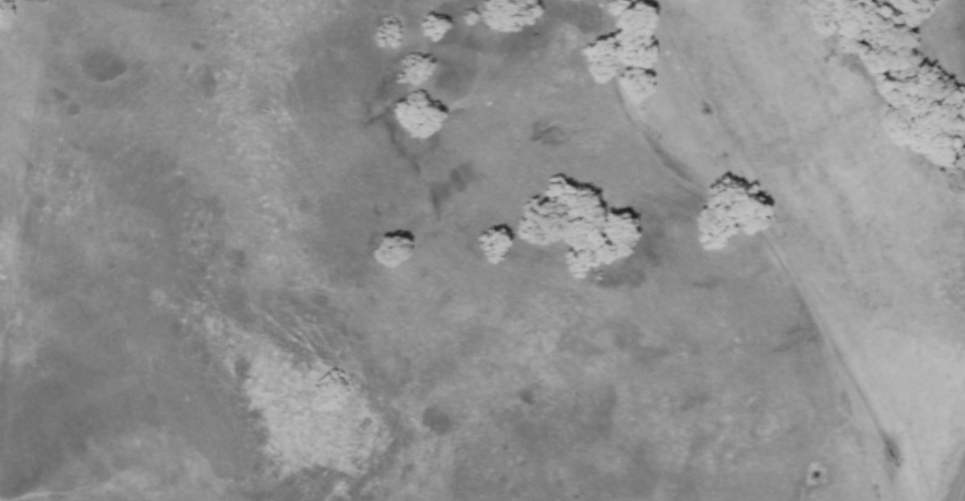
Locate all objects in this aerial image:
road: (961, 492)

